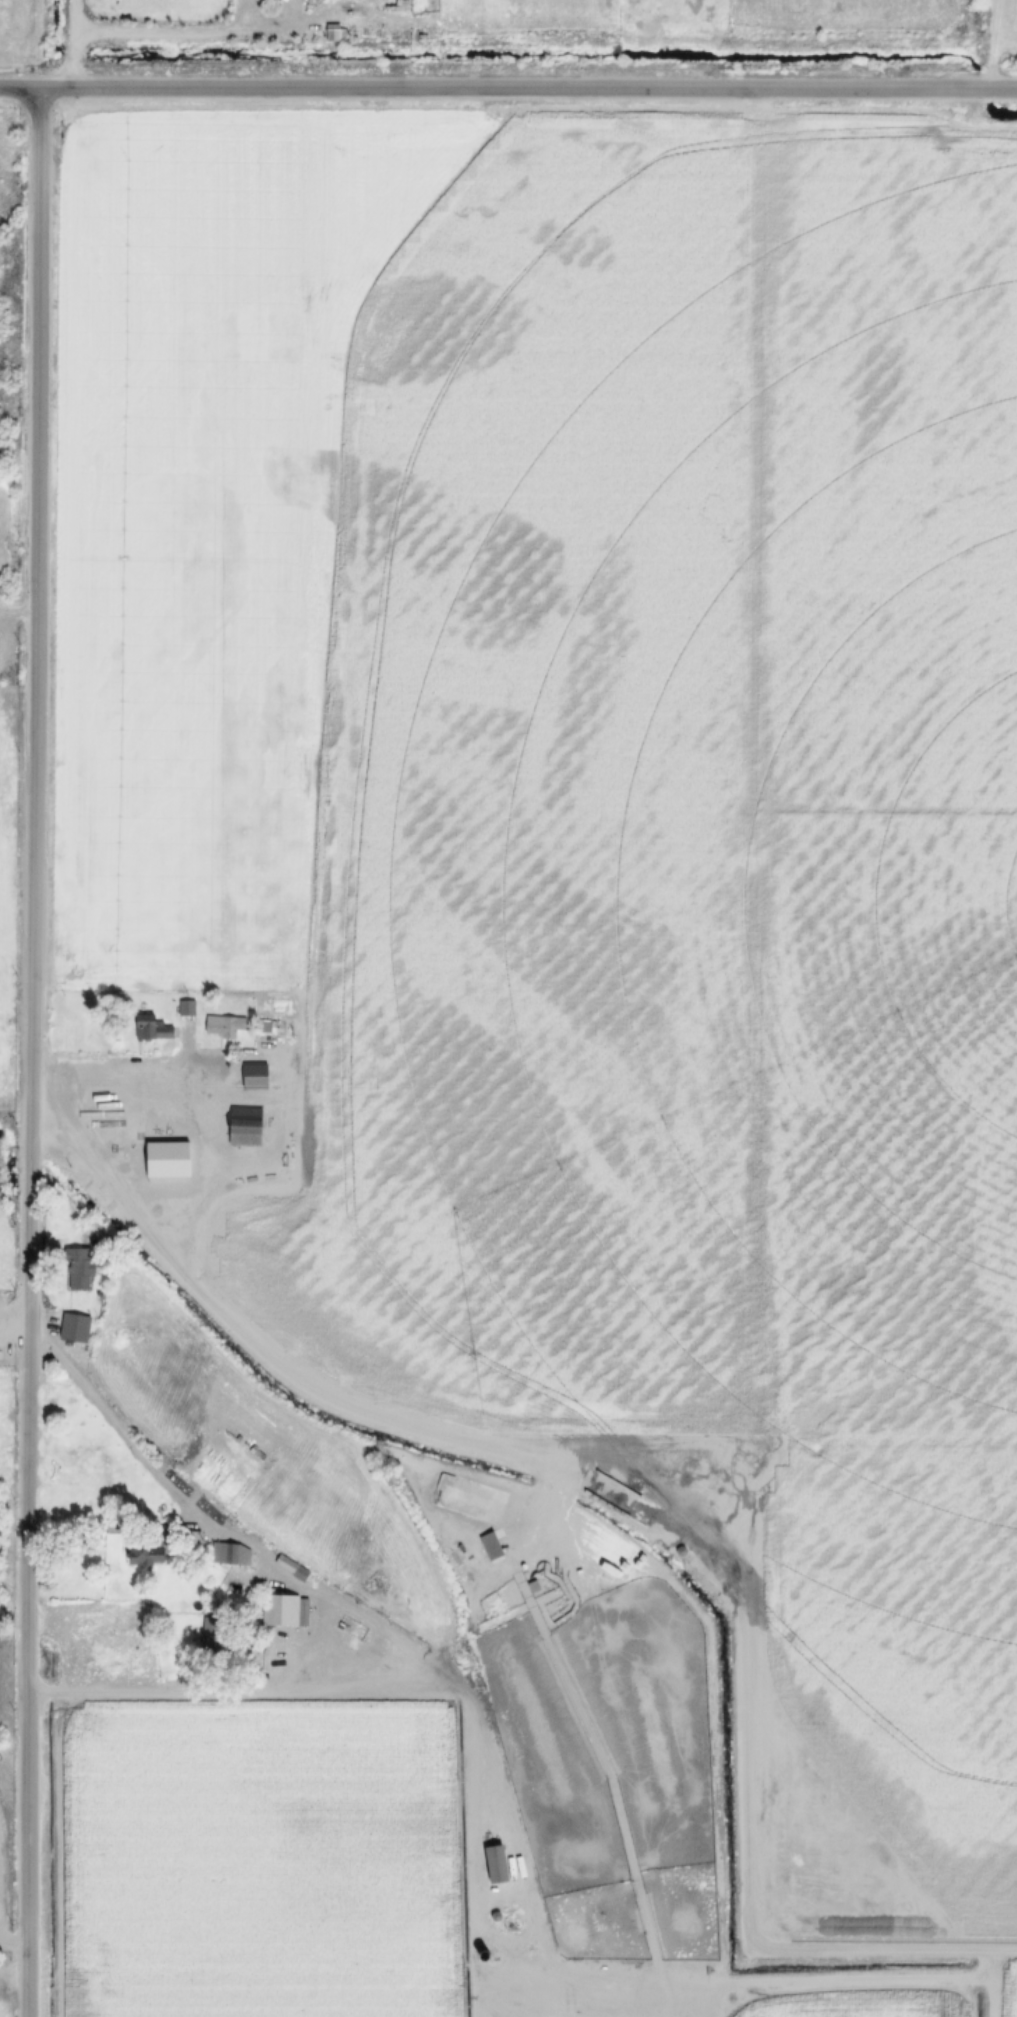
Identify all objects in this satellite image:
building: (335, 31)
road: (169, 36)
road: (73, 44)
road: (508, 90)
road: (18, 614)
building: (187, 1007)
building: (224, 1026)
building: (152, 1028)
road: (34, 1053)
road: (133, 1070)
building: (250, 1108)
building: (158, 1147)
building: (80, 1267)
road: (14, 1309)
building: (75, 1327)
road: (120, 1432)
road: (515, 1445)
building: (491, 1543)
building: (149, 1551)
building: (229, 1552)
building: (292, 1566)
building: (284, 1609)
road: (365, 1619)
building: (209, 1626)
building: (353, 1627)
road: (163, 1697)
building: (498, 1863)
road: (848, 1981)

